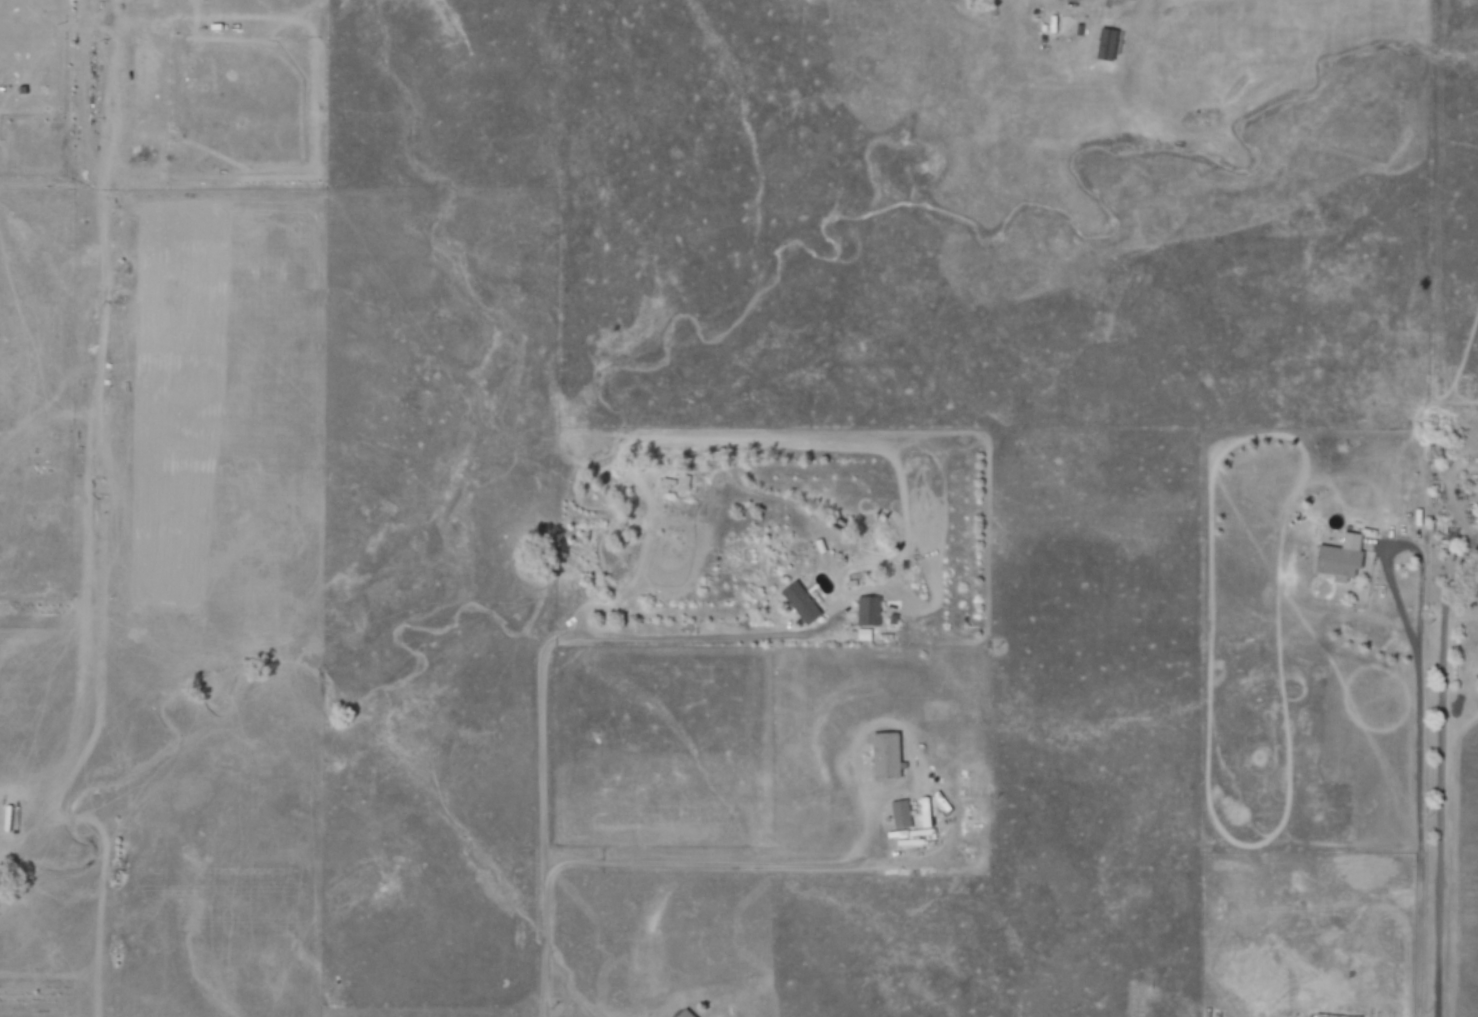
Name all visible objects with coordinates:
building: (1109, 44)
road: (1399, 543)
building: (1343, 559)
building: (802, 603)
building: (870, 611)
road: (541, 692)
building: (888, 756)
road: (1440, 772)
building: (902, 815)
building: (927, 819)
road: (1417, 836)
road: (728, 865)
building: (687, 1013)

